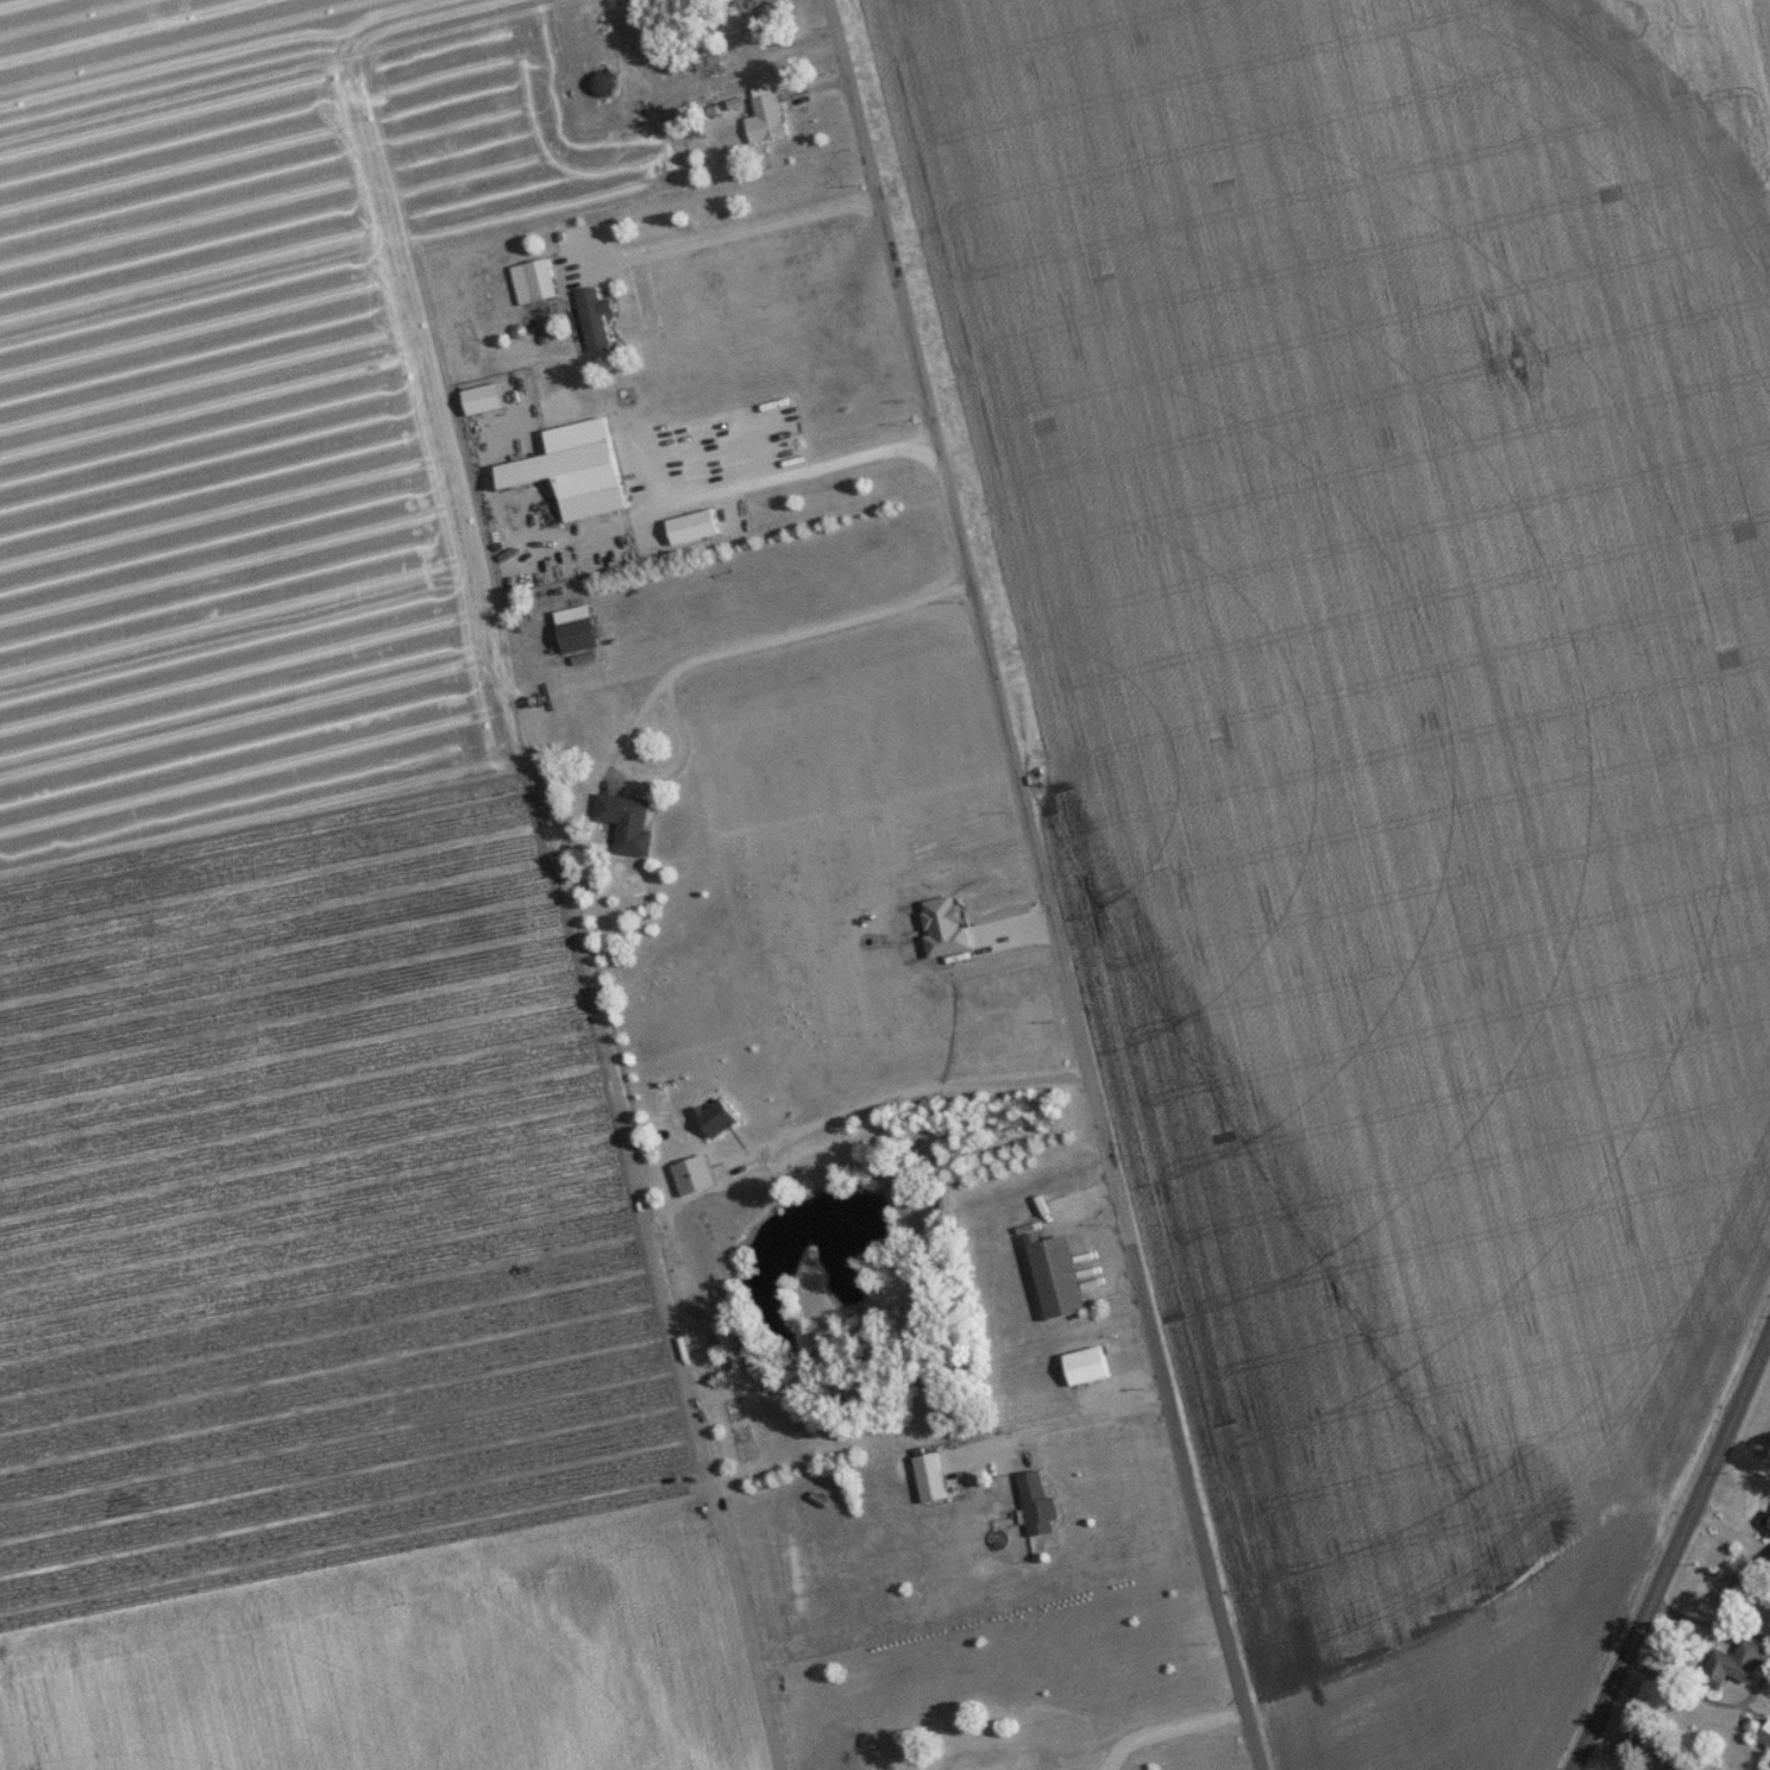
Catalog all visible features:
road: (740, 233)
road: (790, 473)
road: (695, 659)
road: (1041, 885)
road: (904, 1090)
road: (1123, 1369)
road: (1062, 1423)
road: (1746, 1465)
road: (1678, 1557)
road: (1167, 1728)

